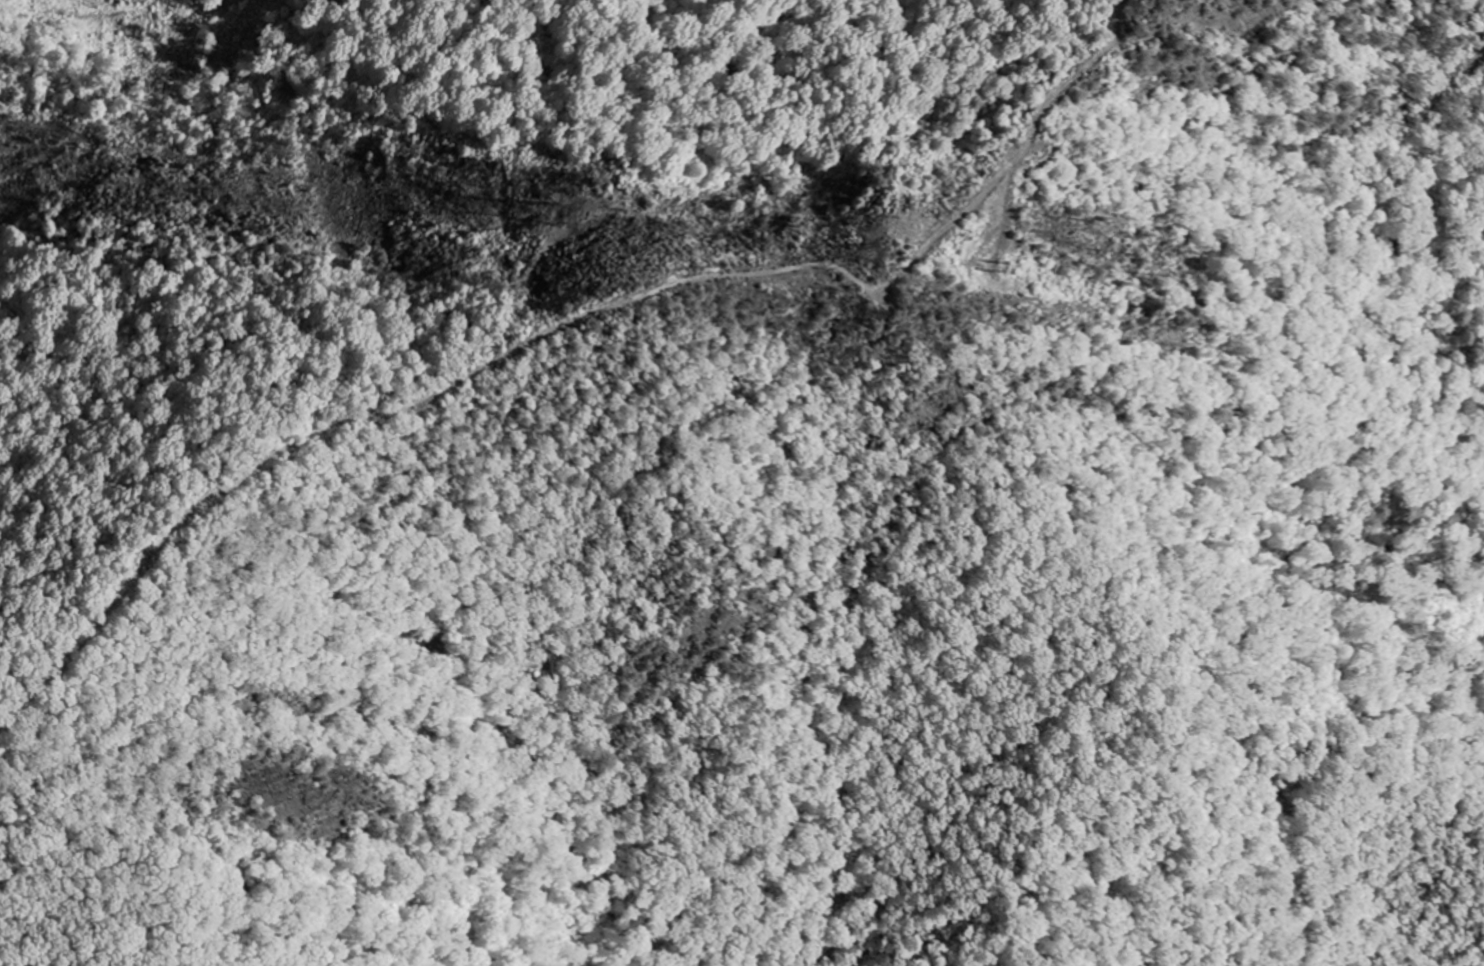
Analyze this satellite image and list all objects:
power tower: (570, 222)
power tower: (891, 250)

